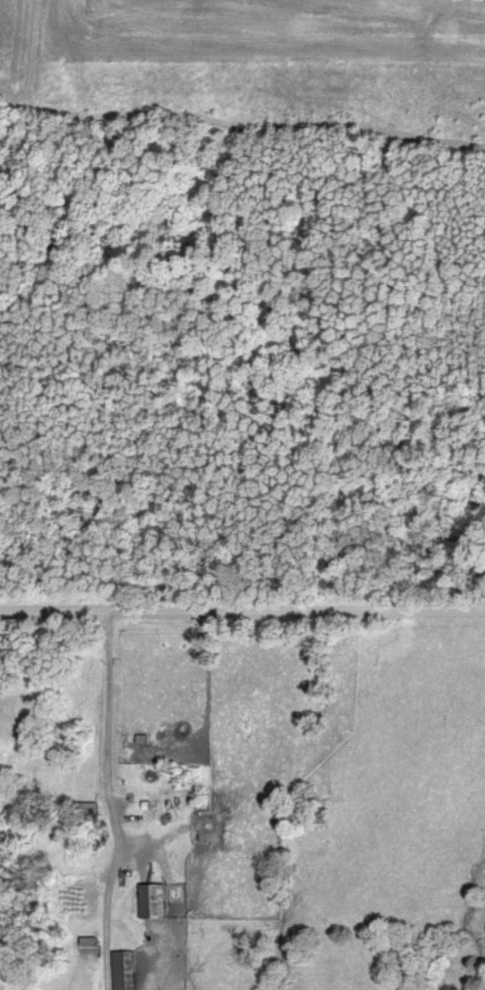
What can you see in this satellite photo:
road: (242, 611)
road: (110, 802)
building: (157, 903)
building: (128, 971)

